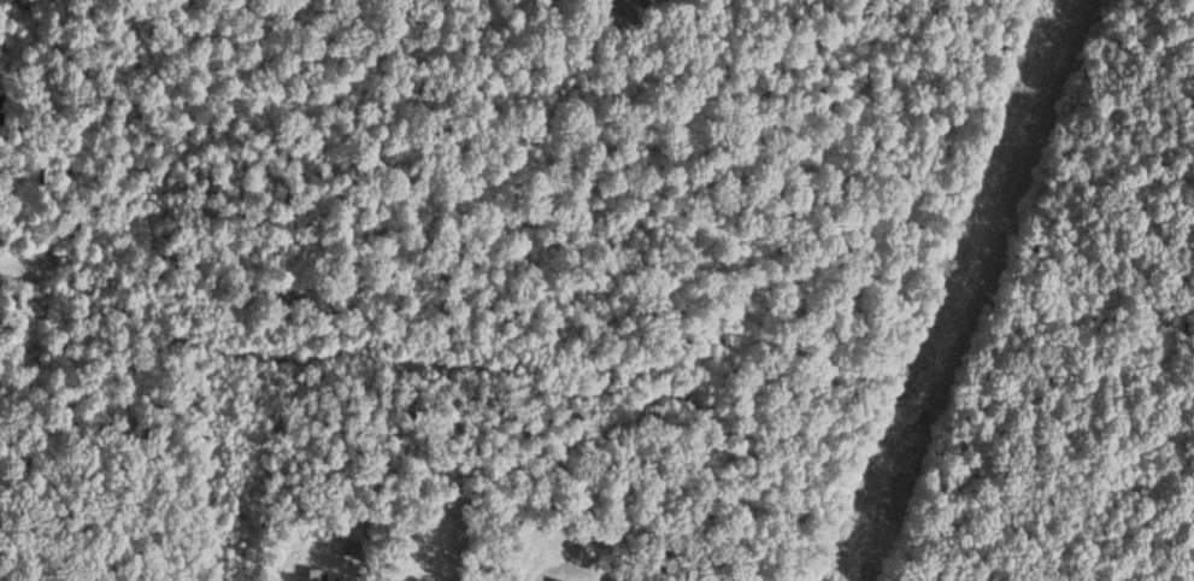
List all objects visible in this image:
building: (313, 577)

